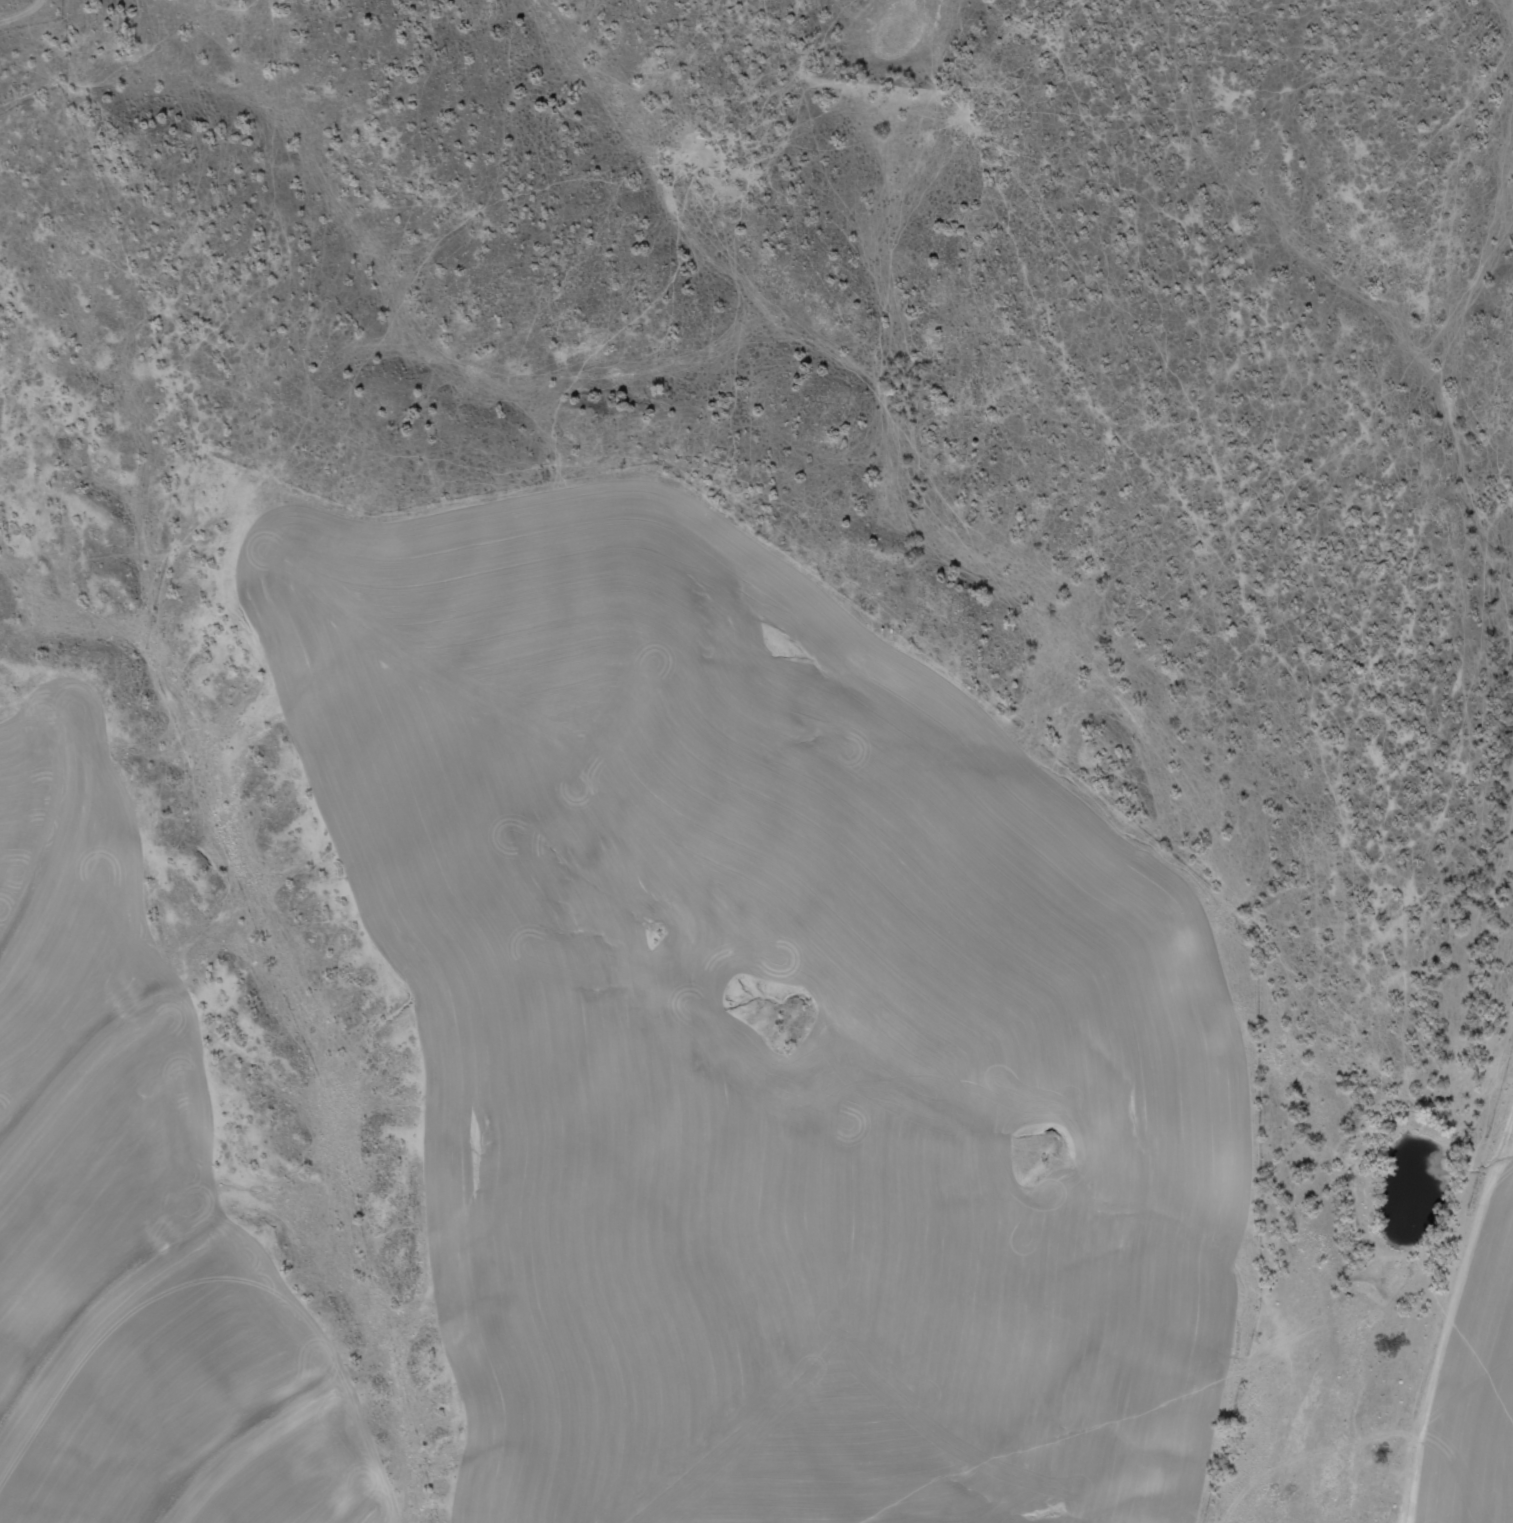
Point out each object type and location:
road: (1435, 1284)

